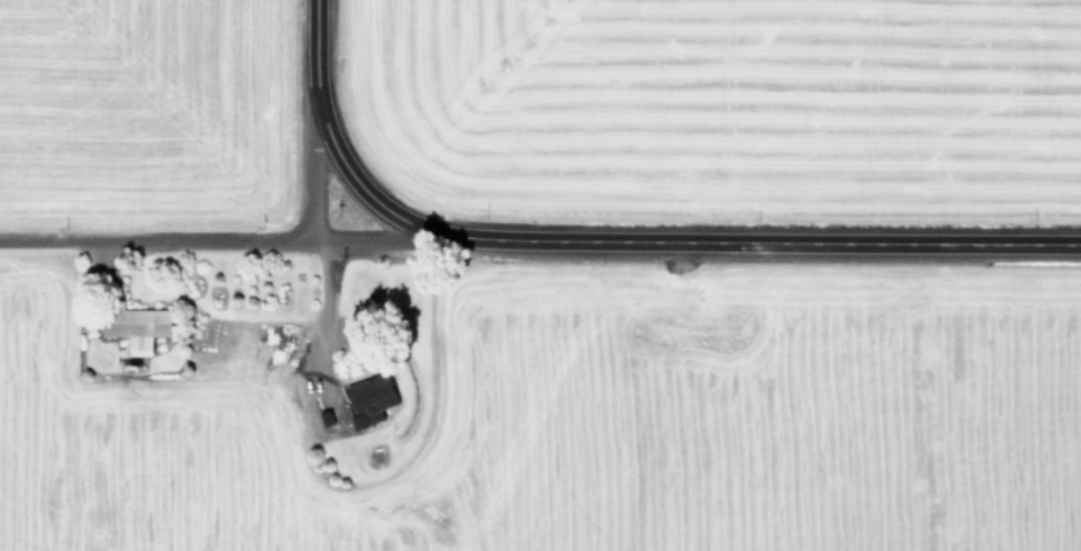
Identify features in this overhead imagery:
crop: (713, 94)
crop: (132, 98)
road: (351, 180)
road: (153, 237)
road: (574, 237)
road: (313, 318)
building: (136, 327)
building: (369, 398)
crop: (538, 422)

